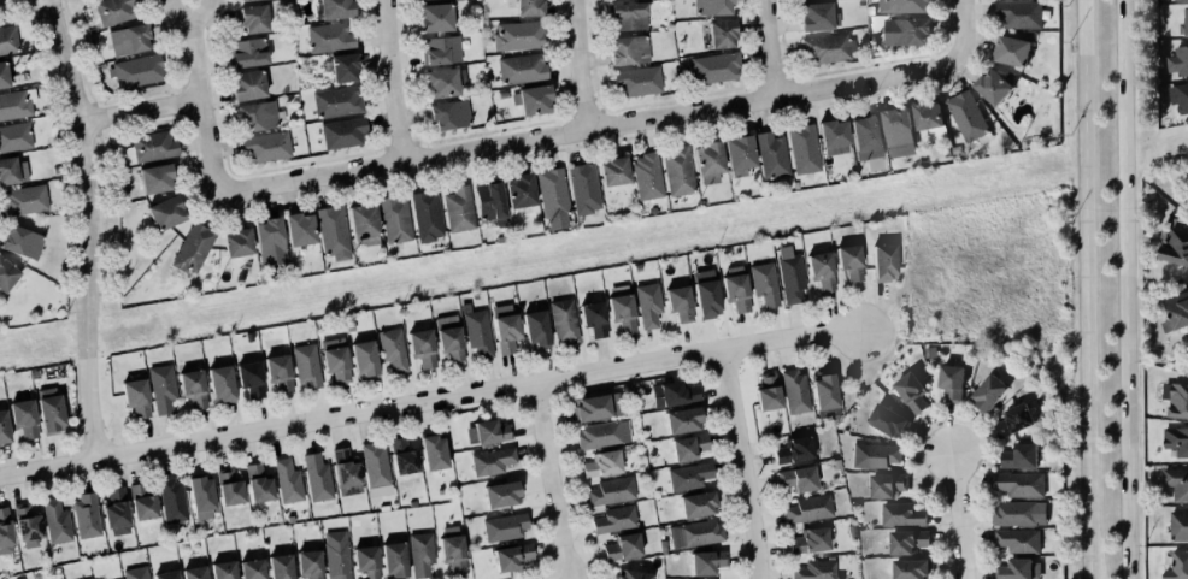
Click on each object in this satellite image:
building: (243, 0)
building: (1181, 0)
building: (904, 6)
building: (528, 7)
building: (713, 7)
building: (335, 8)
building: (113, 10)
building: (1019, 14)
building: (628, 16)
building: (818, 16)
building: (434, 17)
building: (252, 18)
building: (1186, 20)
road: (963, 28)
building: (907, 31)
building: (722, 34)
building: (517, 35)
building: (330, 36)
building: (130, 39)
building: (8, 40)
road: (770, 47)
building: (825, 48)
building: (439, 49)
building: (629, 49)
building: (1012, 51)
building: (248, 52)
building: (1178, 60)
road: (580, 64)
building: (713, 66)
building: (342, 67)
building: (521, 67)
building: (136, 71)
building: (4, 75)
road: (396, 79)
building: (639, 81)
building: (443, 82)
building: (246, 85)
building: (993, 87)
building: (1178, 96)
road: (200, 98)
building: (533, 100)
building: (14, 101)
building: (337, 101)
road: (140, 111)
building: (451, 114)
building: (258, 116)
building: (965, 116)
building: (929, 119)
road: (592, 128)
building: (342, 132)
building: (831, 132)
building: (896, 134)
building: (13, 135)
building: (864, 136)
building: (265, 146)
building: (151, 147)
building: (802, 148)
building: (739, 153)
building: (770, 155)
building: (707, 159)
building: (11, 169)
building: (677, 171)
building: (613, 172)
building: (646, 176)
building: (155, 178)
building: (584, 188)
building: (521, 190)
building: (551, 193)
building: (24, 200)
building: (488, 200)
building: (457, 208)
building: (164, 213)
building: (425, 215)
building: (395, 219)
building: (364, 224)
road: (89, 229)
building: (298, 230)
building: (334, 231)
building: (19, 240)
building: (269, 242)
building: (236, 243)
building: (1174, 246)
building: (192, 248)
building: (847, 259)
building: (882, 260)
building: (822, 270)
building: (6, 272)
building: (790, 274)
building: (765, 283)
road: (1084, 289)
road: (1123, 289)
building: (704, 291)
building: (736, 291)
building: (677, 301)
building: (646, 302)
building: (619, 311)
building: (1176, 315)
building: (592, 317)
building: (564, 320)
building: (536, 329)
building: (478, 332)
building: (506, 332)
building: (449, 336)
building: (419, 345)
building: (393, 349)
building: (335, 359)
building: (364, 359)
building: (306, 365)
building: (276, 370)
building: (251, 378)
building: (219, 382)
building: (952, 383)
building: (163, 388)
building: (193, 388)
building: (908, 390)
building: (768, 391)
building: (795, 391)
building: (989, 392)
building: (674, 394)
building: (825, 395)
building: (136, 396)
building: (1178, 401)
road: (431, 402)
building: (598, 406)
building: (49, 409)
building: (20, 410)
building: (678, 418)
building: (886, 419)
building: (1013, 420)
building: (4, 427)
building: (487, 432)
building: (601, 433)
building: (1176, 441)
building: (686, 444)
building: (794, 450)
building: (434, 451)
building: (876, 455)
building: (1019, 456)
building: (404, 457)
building: (490, 460)
building: (599, 461)
building: (376, 463)
road: (746, 463)
building: (342, 466)
building: (687, 474)
building: (795, 477)
building: (318, 478)
building: (286, 479)
road: (552, 481)
building: (258, 483)
building: (1177, 483)
building: (884, 484)
building: (1021, 484)
building: (229, 488)
building: (610, 489)
building: (499, 492)
building: (199, 495)
building: (169, 498)
building: (142, 501)
building: (699, 503)
building: (808, 508)
building: (113, 509)
building: (1016, 512)
building: (900, 513)
building: (86, 516)
road: (963, 516)
building: (53, 518)
building: (613, 518)
building: (24, 524)
building: (502, 525)
building: (1178, 526)
building: (5, 531)
building: (694, 531)
building: (807, 539)
building: (906, 540)
building: (1018, 540)
building: (621, 544)
building: (452, 548)
building: (333, 550)
building: (422, 553)
building: (508, 555)
building: (364, 560)
building: (394, 560)
building: (705, 560)
building: (307, 563)
building: (278, 565)
building: (1177, 566)
building: (251, 568)
building: (910, 568)
building: (1012, 568)
building: (222, 569)
building: (816, 569)
building: (134, 572)
building: (192, 572)
building: (630, 573)
building: (163, 574)
building: (90, 578)
building: (146, 578)
building: (234, 578)
building: (320, 578)
building: (819, 578)

